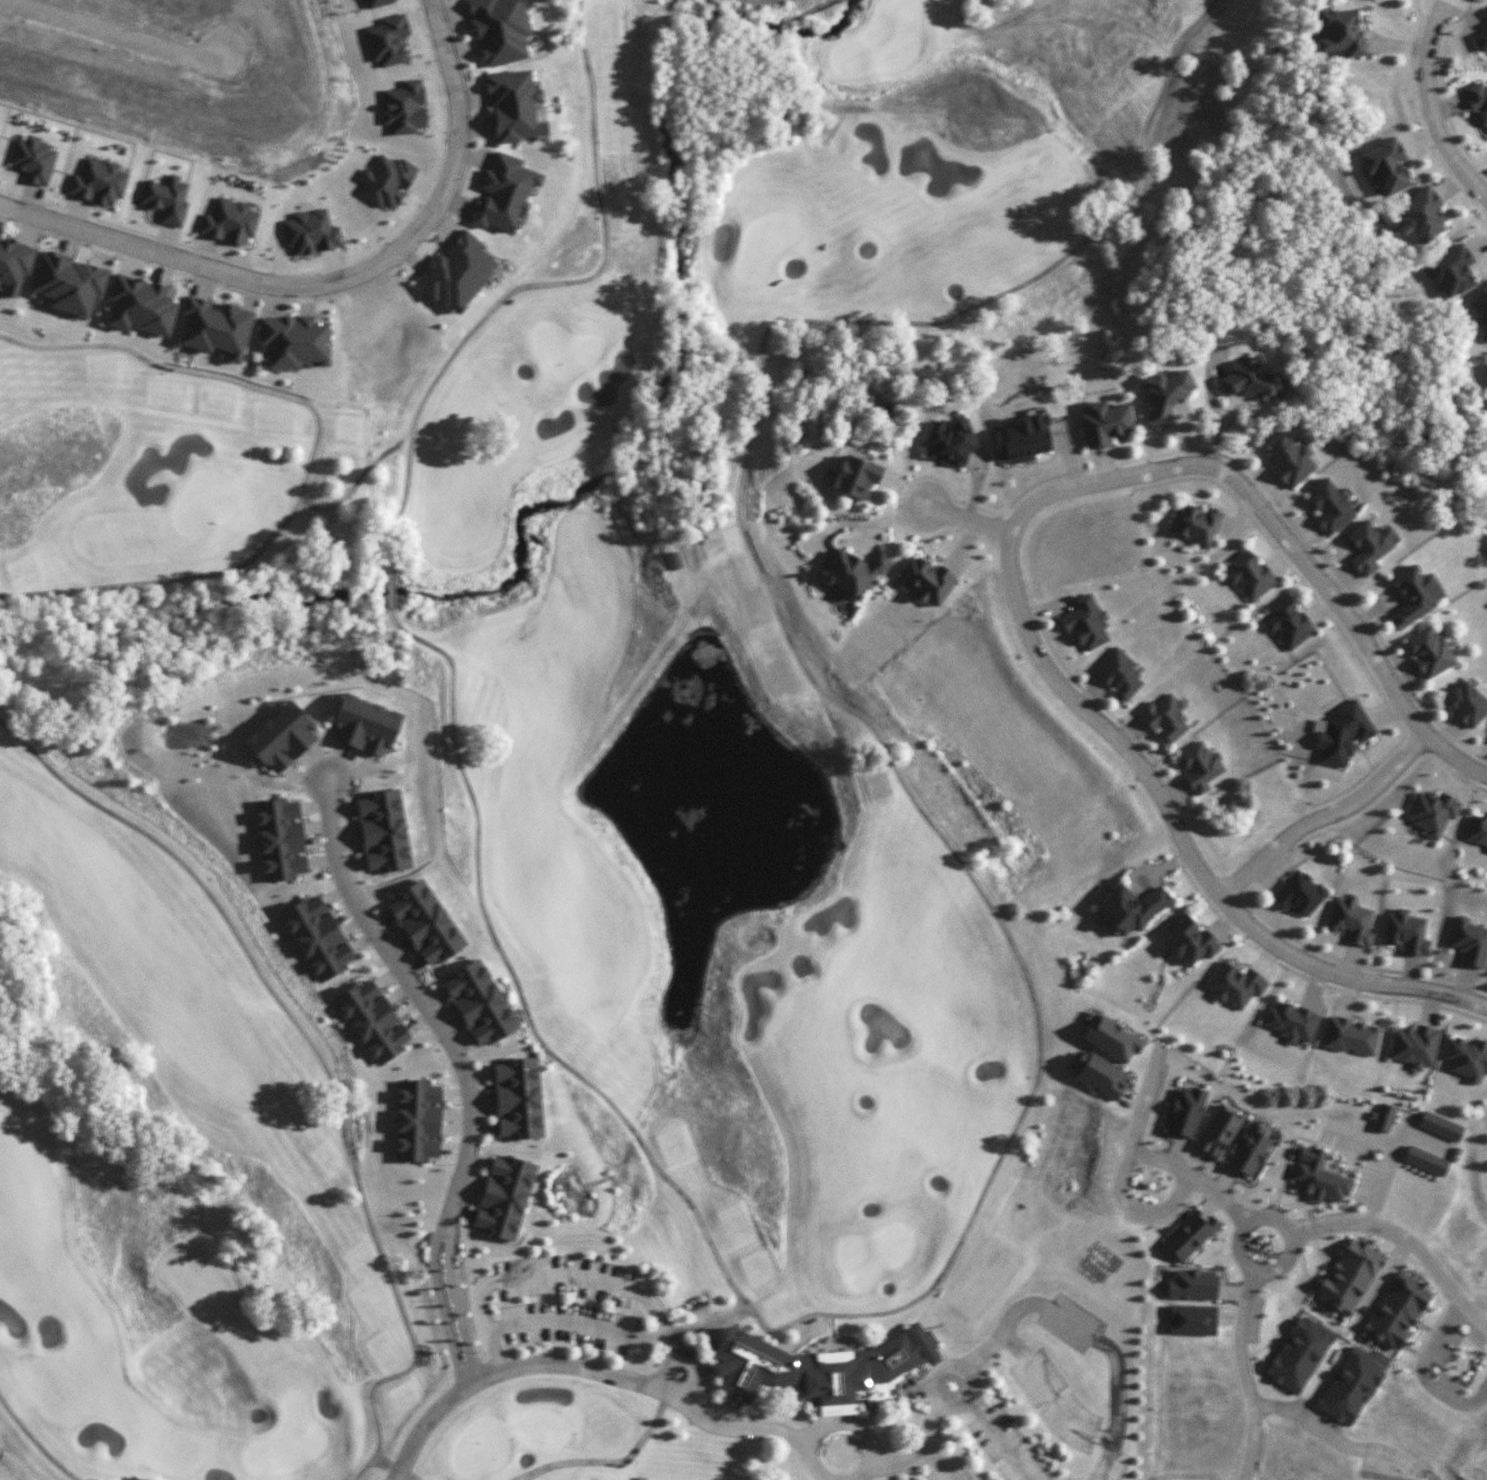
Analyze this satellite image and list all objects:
building: (377, 3)
road: (992, 29)
building: (499, 30)
building: (1340, 32)
building: (386, 39)
building: (1480, 40)
building: (1477, 99)
building: (513, 106)
building: (403, 107)
road: (1429, 109)
building: (34, 159)
building: (1385, 165)
building: (386, 180)
building: (99, 181)
building: (503, 192)
building: (166, 199)
building: (1421, 215)
building: (229, 221)
building: (311, 232)
building: (11, 264)
building: (1452, 269)
building: (456, 272)
building: (64, 280)
road: (332, 280)
road: (537, 284)
building: (138, 303)
building: (1481, 307)
building: (215, 322)
building: (295, 340)
building: (1252, 379)
building: (1166, 394)
building: (1104, 422)
building: (1022, 439)
building: (947, 441)
road: (313, 456)
building: (1287, 460)
building: (855, 476)
road: (968, 519)
building: (1196, 523)
road: (1280, 533)
building: (1368, 546)
building: (851, 572)
building: (1249, 575)
building: (928, 580)
road: (389, 590)
building: (1414, 594)
building: (1085, 622)
building: (1288, 623)
road: (790, 642)
building: (1429, 652)
building: (1118, 672)
building: (1467, 703)
building: (1165, 716)
park: (549, 725)
building: (355, 726)
building: (1342, 733)
building: (270, 742)
building: (1200, 766)
road: (328, 791)
building: (1432, 812)
road: (1322, 815)
building: (1477, 829)
building: (386, 830)
road: (1181, 839)
building: (284, 844)
building: (1486, 851)
building: (1299, 893)
building: (1129, 907)
building: (425, 920)
building: (1352, 920)
building: (319, 929)
building: (1407, 932)
building: (1189, 940)
building: (1470, 942)
road: (513, 974)
building: (1234, 985)
building: (473, 1001)
building: (372, 1018)
building: (1291, 1022)
building: (1349, 1035)
building: (1112, 1038)
building: (1414, 1046)
building: (1467, 1058)
road: (321, 1059)
building: (1100, 1074)
road: (464, 1077)
building: (517, 1096)
building: (1185, 1111)
building: (1383, 1117)
building: (417, 1119)
building: (1440, 1125)
building: (1218, 1132)
building: (1249, 1150)
building: (1425, 1160)
road: (1121, 1167)
road: (1383, 1173)
building: (1318, 1176)
road: (1192, 1177)
building: (504, 1196)
building: (1189, 1234)
road: (1291, 1235)
road: (1405, 1239)
road: (571, 1272)
building: (1349, 1276)
building: (1192, 1284)
building: (1396, 1310)
road: (574, 1322)
road: (705, 1323)
road: (1091, 1334)
building: (1299, 1353)
building: (821, 1369)
road: (694, 1371)
road: (1422, 1373)
road: (1244, 1375)
road: (1034, 1379)
road: (645, 1385)
building: (1348, 1387)
road: (929, 1390)
road: (840, 1419)
road: (423, 1423)
park: (587, 1439)
road: (36, 1440)
road: (995, 1440)
road: (920, 1455)
road: (1102, 1461)
road: (610, 1462)
road: (932, 1466)
road: (395, 1468)

